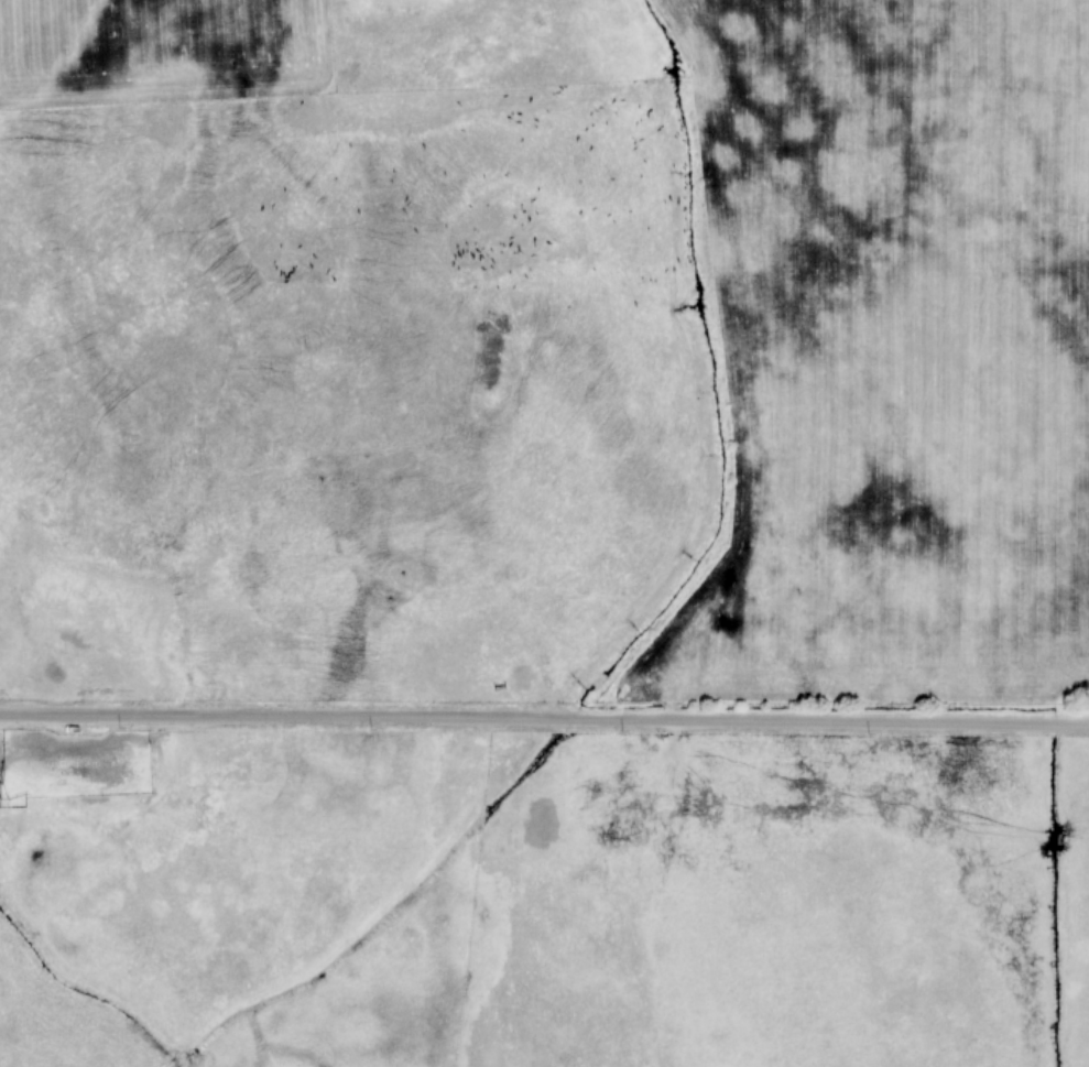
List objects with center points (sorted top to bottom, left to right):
road: (544, 736)

